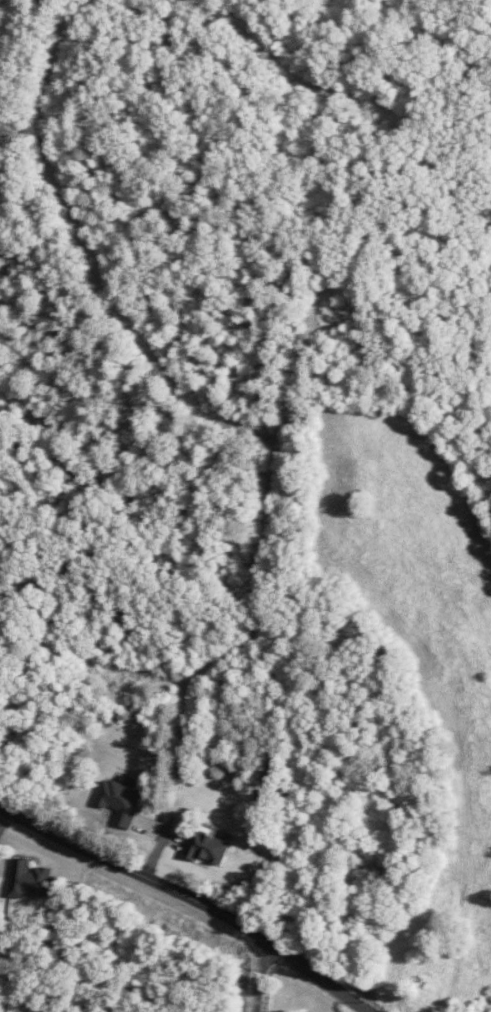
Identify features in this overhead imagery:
road: (288, 61)
road: (87, 259)
road: (304, 359)
road: (264, 577)
road: (153, 671)
road: (184, 783)
building: (119, 802)
road: (4, 823)
building: (206, 848)
building: (29, 879)
road: (188, 899)
road: (141, 909)
road: (264, 978)

